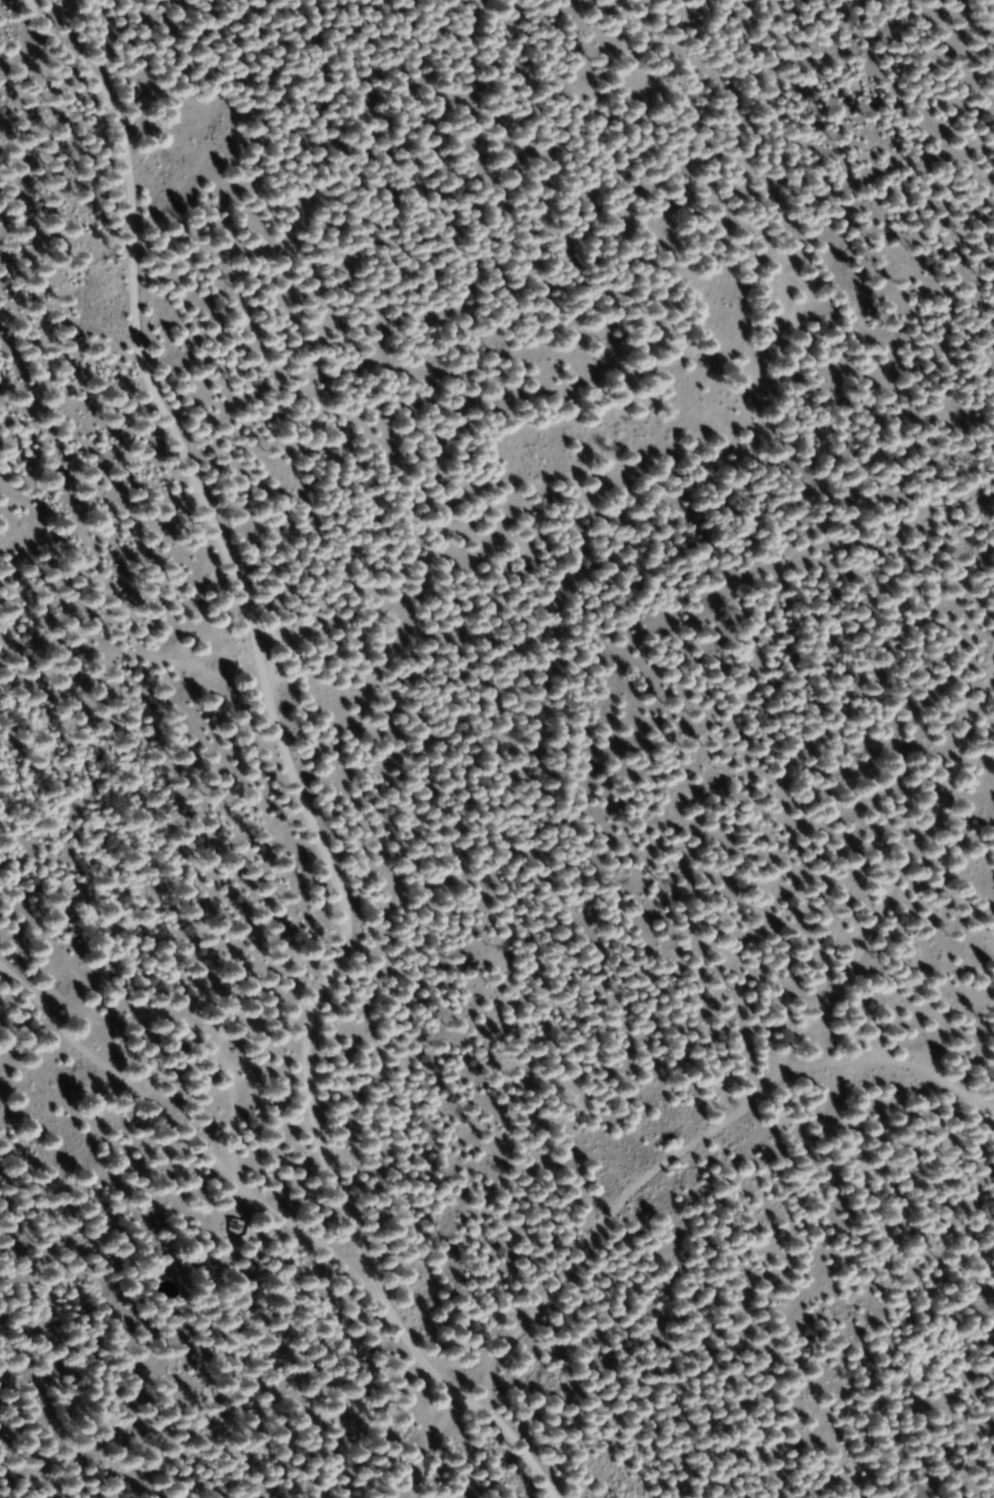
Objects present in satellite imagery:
road: (224, 752)
road: (148, 1135)
road: (429, 1493)

